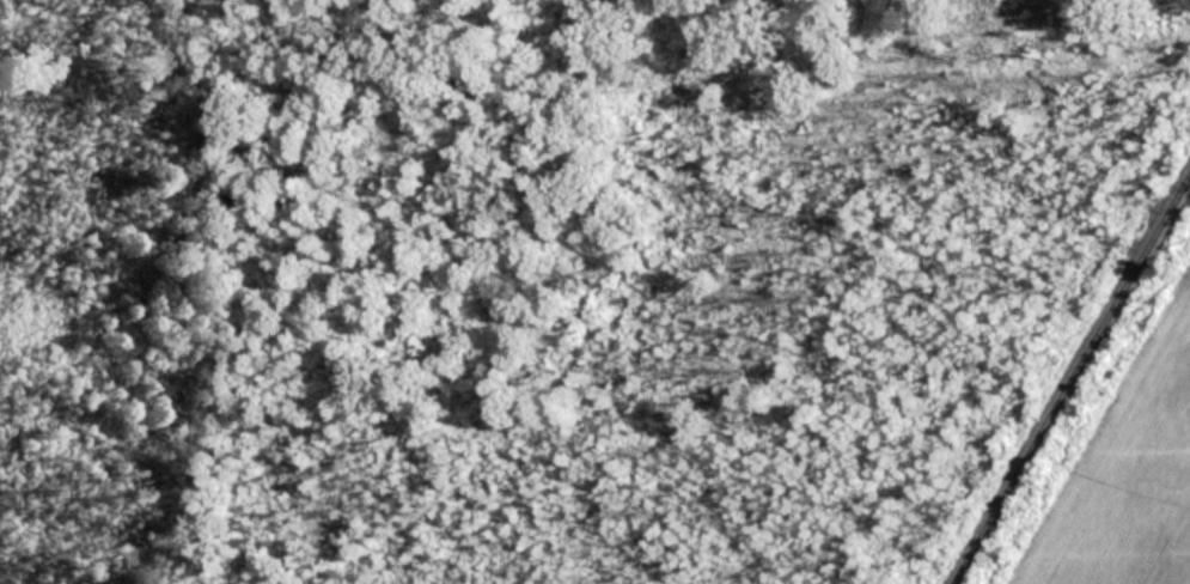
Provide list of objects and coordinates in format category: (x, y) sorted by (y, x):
railway: (1070, 378)

